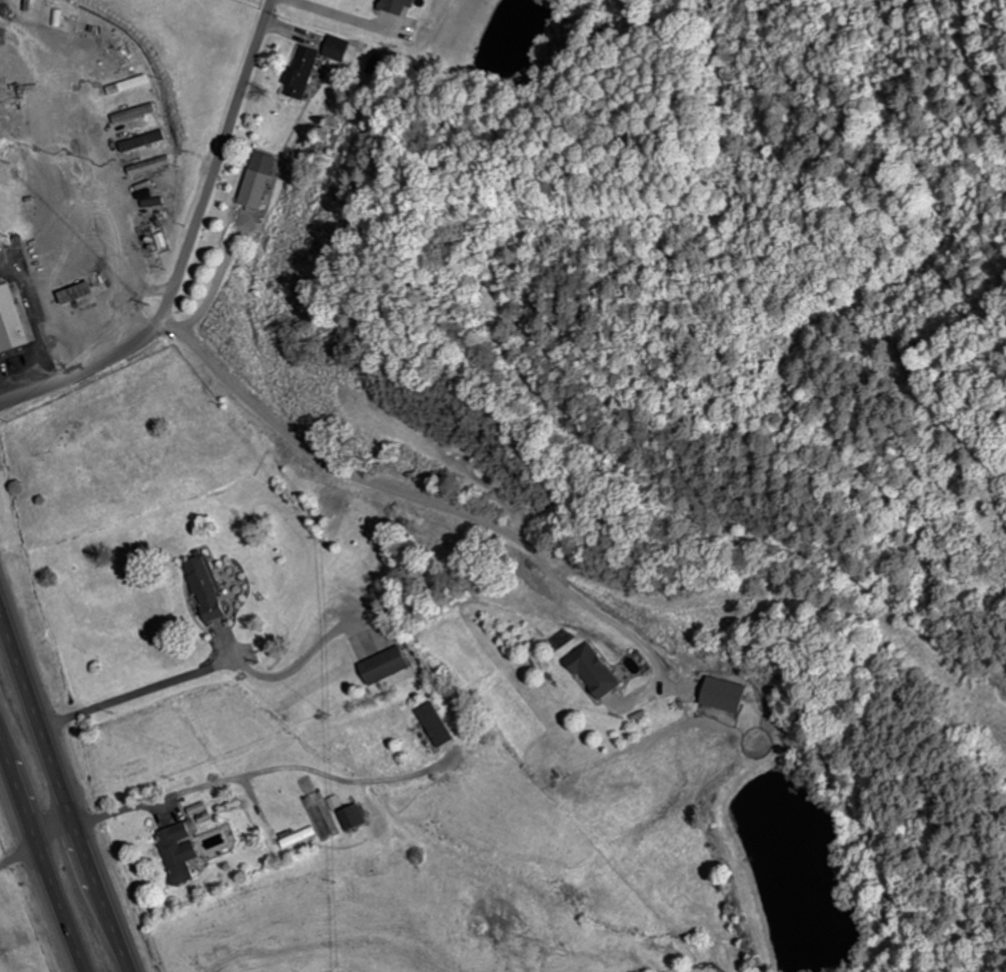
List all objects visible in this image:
building: (395, 6)
building: (62, 19)
building: (335, 49)
building: (299, 74)
building: (132, 86)
building: (136, 114)
building: (145, 143)
building: (153, 167)
building: (255, 182)
road: (189, 247)
building: (14, 320)
building: (206, 589)
building: (383, 668)
building: (590, 672)
building: (720, 696)
building: (434, 728)
road: (276, 770)
road: (64, 786)
building: (357, 820)
building: (316, 824)
road: (56, 832)
building: (182, 853)
road: (40, 857)

